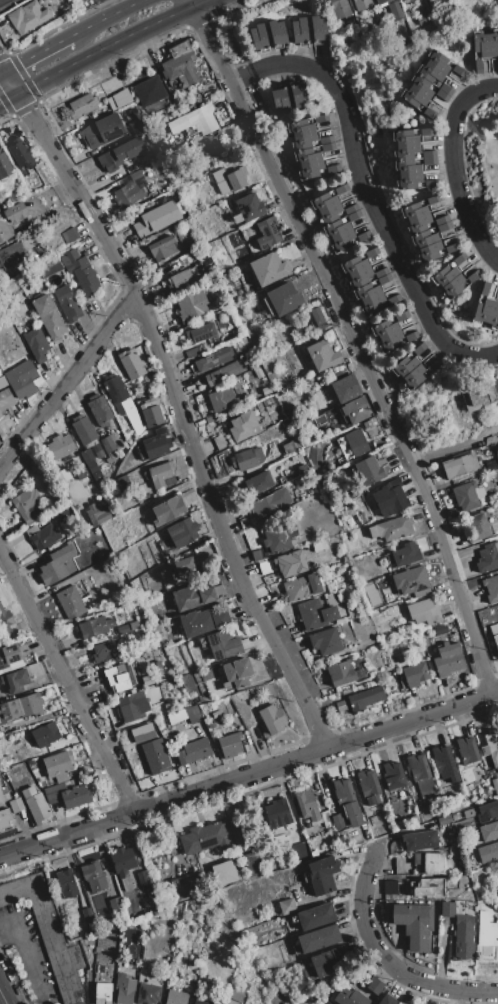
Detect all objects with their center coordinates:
building: (380, 1)
road: (187, 3)
road: (197, 3)
building: (361, 4)
building: (339, 8)
building: (27, 16)
road: (105, 18)
building: (423, 18)
building: (318, 29)
building: (299, 31)
building: (276, 34)
building: (258, 37)
building: (492, 42)
building: (480, 44)
road: (104, 48)
road: (37, 53)
building: (437, 61)
building: (497, 63)
traffic signals: (19, 64)
building: (181, 64)
building: (478, 65)
building: (457, 70)
road: (3, 71)
building: (429, 73)
building: (420, 85)
building: (445, 89)
building: (148, 91)
building: (298, 95)
building: (441, 95)
road: (9, 96)
building: (412, 98)
building: (118, 99)
building: (279, 99)
building: (82, 105)
traffic signals: (30, 109)
building: (428, 113)
building: (320, 118)
building: (195, 120)
building: (135, 126)
building: (300, 127)
building: (162, 128)
building: (102, 131)
building: (425, 131)
building: (404, 137)
building: (325, 139)
building: (303, 140)
building: (211, 146)
building: (327, 147)
building: (405, 151)
building: (19, 153)
building: (120, 153)
building: (427, 153)
building: (307, 155)
building: (428, 160)
road: (453, 165)
building: (4, 166)
building: (407, 166)
building: (332, 169)
building: (310, 170)
building: (219, 175)
building: (235, 179)
building: (407, 181)
building: (430, 183)
building: (341, 189)
building: (129, 191)
road: (372, 196)
building: (432, 199)
building: (322, 202)
building: (249, 207)
building: (350, 209)
building: (413, 210)
building: (329, 214)
building: (353, 215)
building: (157, 218)
building: (10, 219)
building: (440, 220)
building: (418, 223)
building: (442, 227)
building: (335, 228)
building: (268, 232)
building: (69, 234)
building: (363, 236)
building: (234, 238)
building: (423, 238)
building: (342, 241)
building: (161, 248)
building: (450, 248)
building: (371, 252)
building: (428, 252)
building: (11, 253)
building: (458, 259)
building: (353, 265)
building: (49, 268)
building: (268, 268)
building: (80, 271)
building: (380, 273)
building: (443, 275)
building: (179, 276)
building: (471, 277)
building: (359, 278)
building: (383, 279)
building: (452, 287)
building: (484, 289)
building: (366, 292)
building: (283, 298)
building: (393, 299)
building: (67, 303)
building: (192, 305)
building: (372, 305)
building: (481, 311)
building: (401, 315)
building: (318, 316)
building: (493, 316)
building: (48, 317)
building: (383, 328)
building: (200, 333)
building: (411, 335)
building: (390, 341)
building: (36, 344)
road: (354, 344)
building: (418, 349)
building: (192, 352)
building: (322, 356)
building: (213, 359)
building: (131, 364)
building: (403, 366)
building: (433, 366)
building: (224, 372)
building: (413, 377)
building: (22, 379)
road: (67, 381)
building: (495, 385)
building: (345, 389)
building: (116, 391)
building: (480, 391)
building: (5, 395)
road: (175, 399)
building: (222, 399)
building: (152, 401)
building: (99, 410)
building: (130, 410)
building: (355, 410)
building: (0, 414)
building: (152, 416)
building: (212, 417)
building: (111, 424)
building: (244, 426)
building: (137, 427)
building: (268, 432)
building: (86, 433)
building: (221, 441)
building: (356, 443)
building: (107, 444)
building: (156, 444)
building: (60, 446)
building: (143, 456)
building: (88, 459)
building: (243, 459)
building: (459, 465)
building: (369, 471)
building: (63, 474)
building: (160, 474)
building: (285, 479)
building: (497, 480)
building: (168, 481)
building: (259, 483)
building: (122, 484)
building: (479, 491)
building: (465, 496)
building: (390, 498)
building: (270, 503)
building: (27, 504)
building: (167, 510)
building: (60, 511)
building: (96, 515)
building: (394, 527)
building: (477, 527)
building: (32, 531)
building: (371, 532)
building: (182, 533)
building: (45, 537)
building: (278, 537)
building: (318, 546)
building: (257, 554)
building: (405, 554)
building: (488, 557)
building: (290, 564)
building: (56, 565)
building: (265, 567)
building: (184, 568)
building: (410, 579)
building: (382, 583)
building: (302, 587)
building: (491, 588)
building: (421, 592)
building: (374, 594)
building: (192, 597)
building: (74, 603)
building: (423, 611)
building: (315, 614)
building: (5, 619)
building: (202, 621)
building: (134, 626)
building: (94, 627)
building: (440, 628)
building: (123, 629)
building: (494, 629)
building: (495, 640)
building: (325, 641)
building: (222, 645)
building: (103, 652)
building: (8, 655)
building: (118, 655)
building: (447, 659)
building: (237, 672)
building: (340, 673)
building: (358, 674)
building: (415, 674)
building: (120, 678)
road: (67, 680)
building: (146, 680)
building: (16, 681)
building: (366, 685)
building: (365, 698)
building: (131, 706)
building: (340, 706)
building: (20, 707)
building: (193, 713)
building: (177, 717)
building: (272, 718)
building: (211, 725)
building: (141, 732)
building: (45, 734)
building: (491, 742)
building: (229, 744)
building: (467, 750)
building: (193, 751)
building: (22, 754)
building: (155, 755)
building: (444, 764)
building: (58, 765)
building: (417, 767)
road: (249, 775)
building: (393, 775)
building: (494, 782)
building: (368, 786)
building: (426, 787)
building: (53, 793)
building: (75, 796)
building: (1, 797)
building: (6, 797)
building: (346, 801)
building: (16, 805)
building: (35, 805)
building: (307, 805)
building: (487, 811)
building: (469, 812)
building: (277, 815)
building: (4, 818)
building: (326, 819)
building: (337, 820)
building: (442, 820)
building: (308, 825)
building: (489, 831)
building: (203, 838)
building: (341, 839)
building: (419, 840)
building: (488, 852)
building: (300, 853)
building: (122, 861)
building: (431, 862)
building: (252, 864)
building: (403, 865)
building: (224, 873)
building: (321, 875)
building: (94, 876)
building: (66, 884)
building: (144, 885)
building: (185, 887)
building: (389, 887)
building: (428, 888)
building: (149, 894)
building: (115, 904)
building: (286, 907)
building: (447, 909)
building: (87, 914)
building: (316, 917)
building: (414, 924)
building: (486, 931)
building: (47, 934)
building: (463, 937)
building: (318, 938)
building: (99, 940)
building: (97, 949)
road: (25, 953)
road: (389, 958)
building: (327, 961)
building: (102, 967)
building: (374, 985)
building: (124, 989)
building: (240, 992)
building: (102, 993)
building: (147, 994)
road: (3, 996)
building: (348, 996)
building: (177, 997)
building: (386, 1000)
building: (201, 1001)

